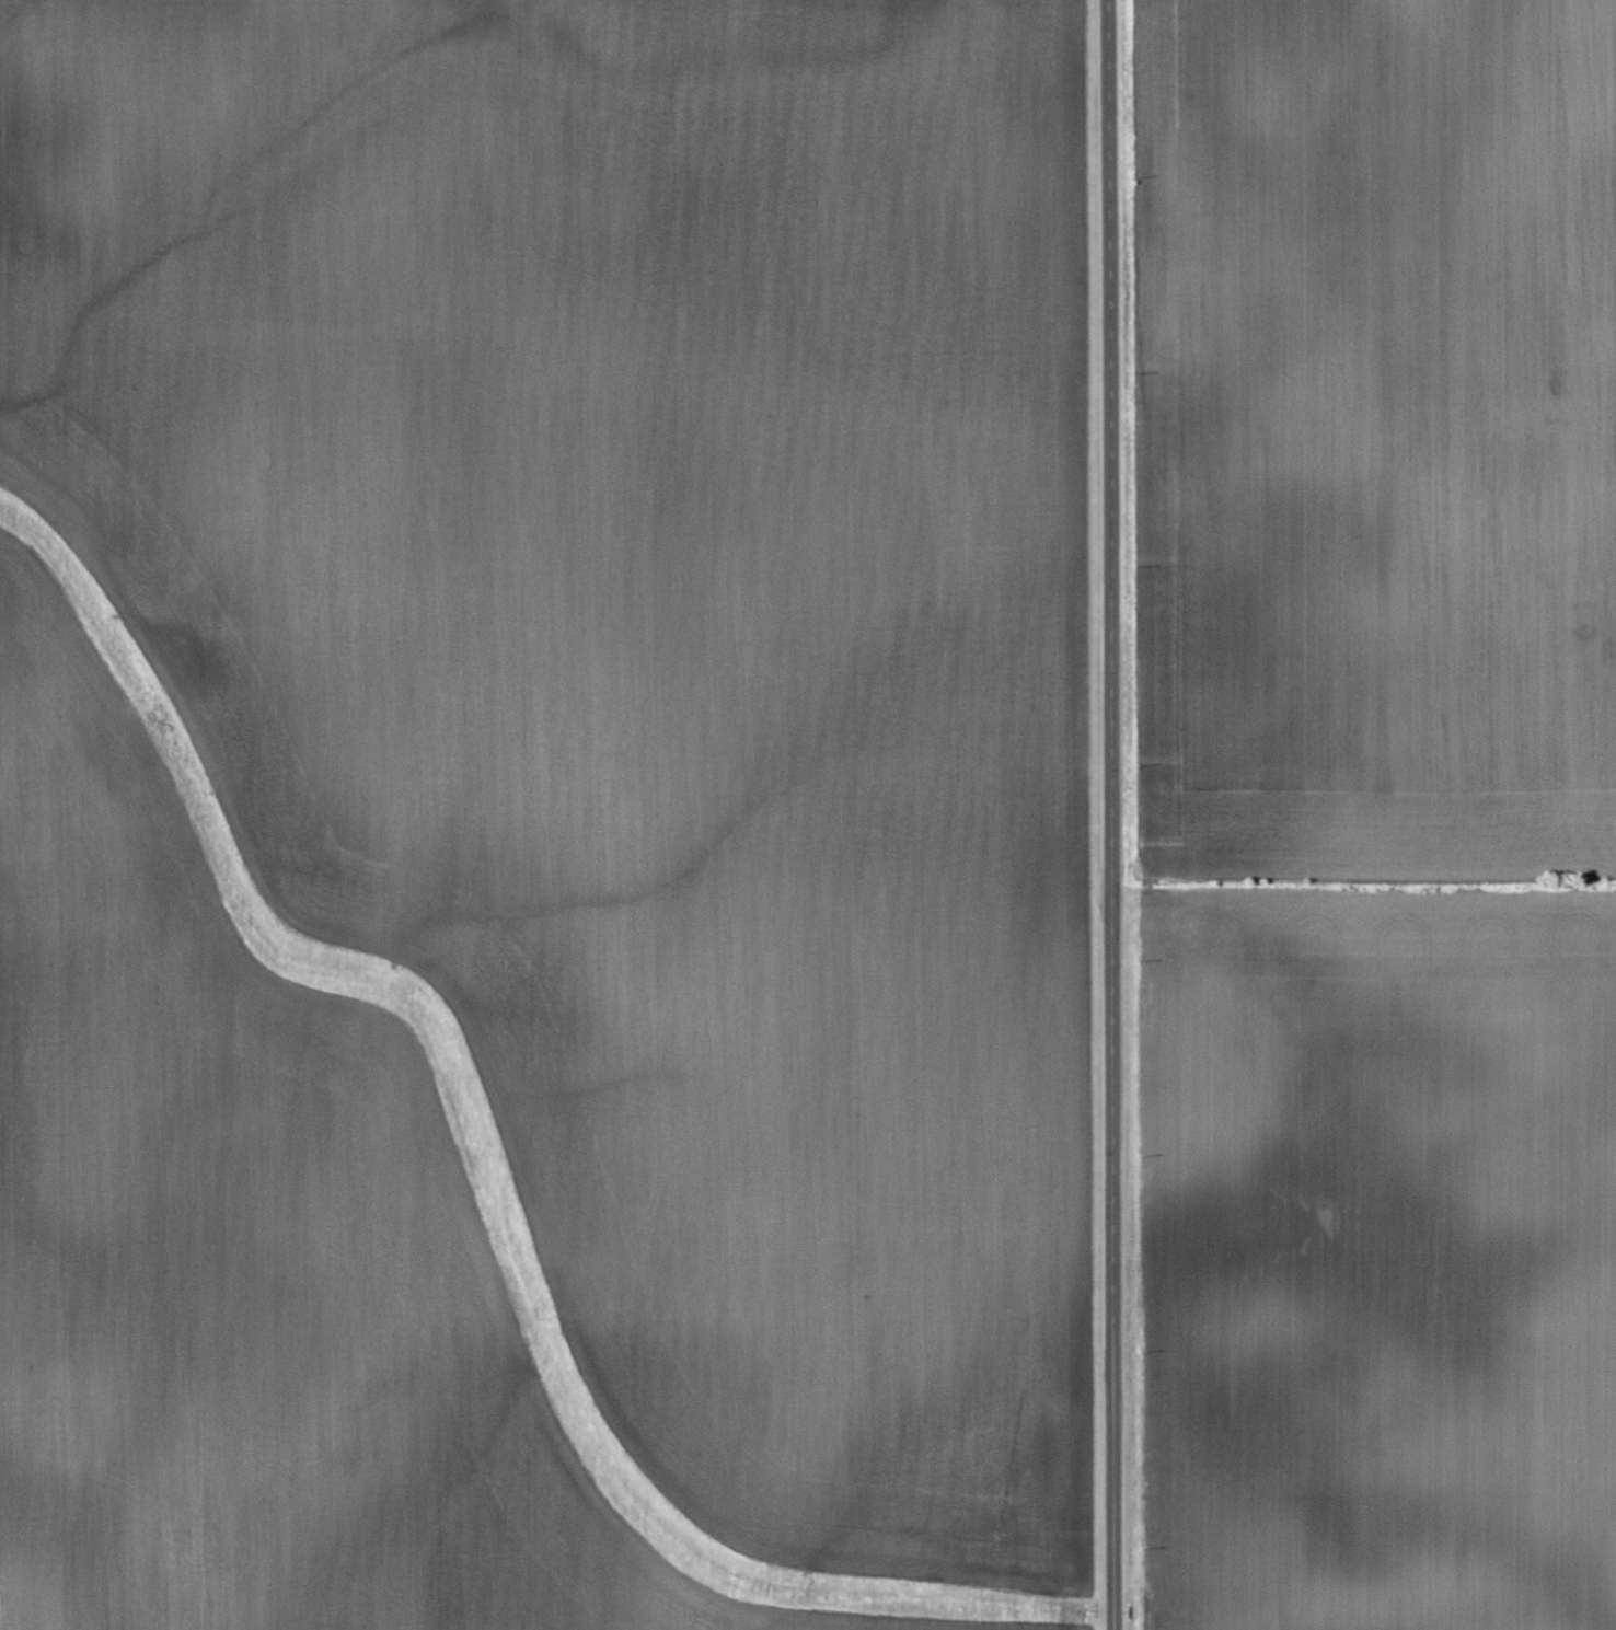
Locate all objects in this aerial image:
road: (1110, 814)

